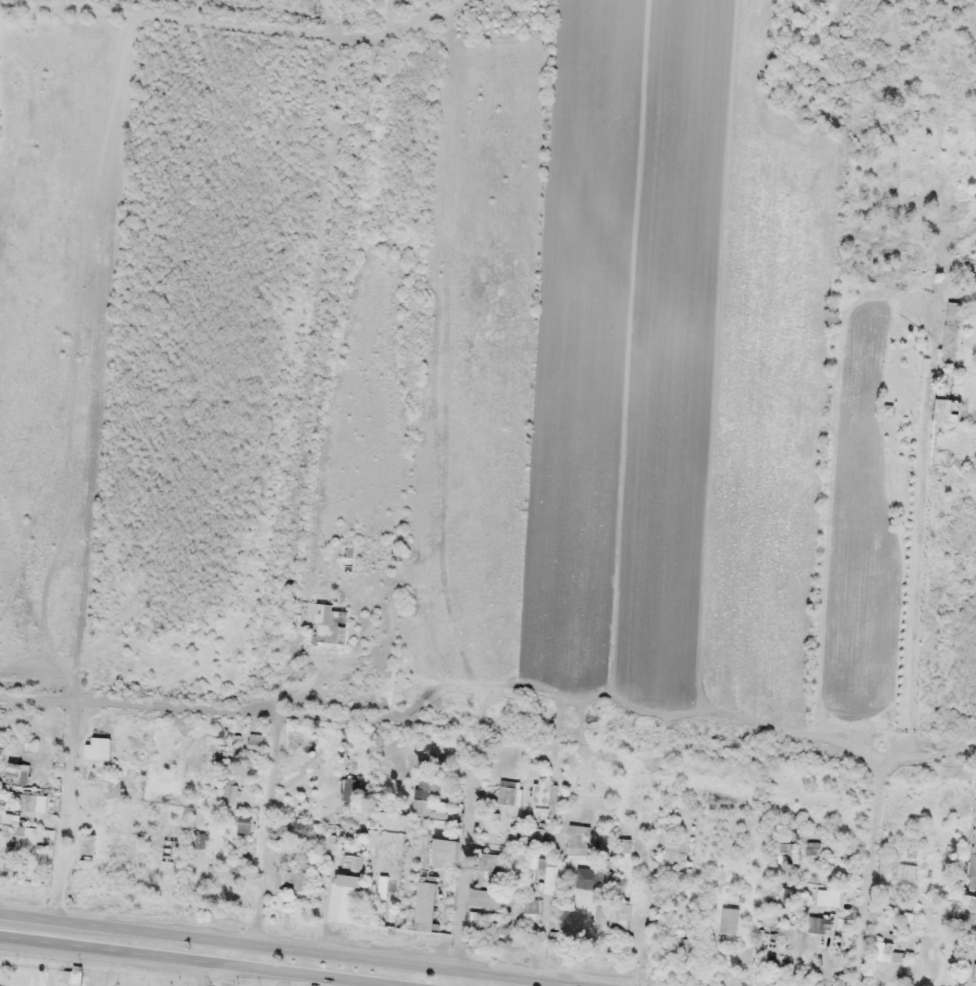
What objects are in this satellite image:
road: (235, 27)
building: (952, 407)
road: (922, 531)
road: (489, 690)

